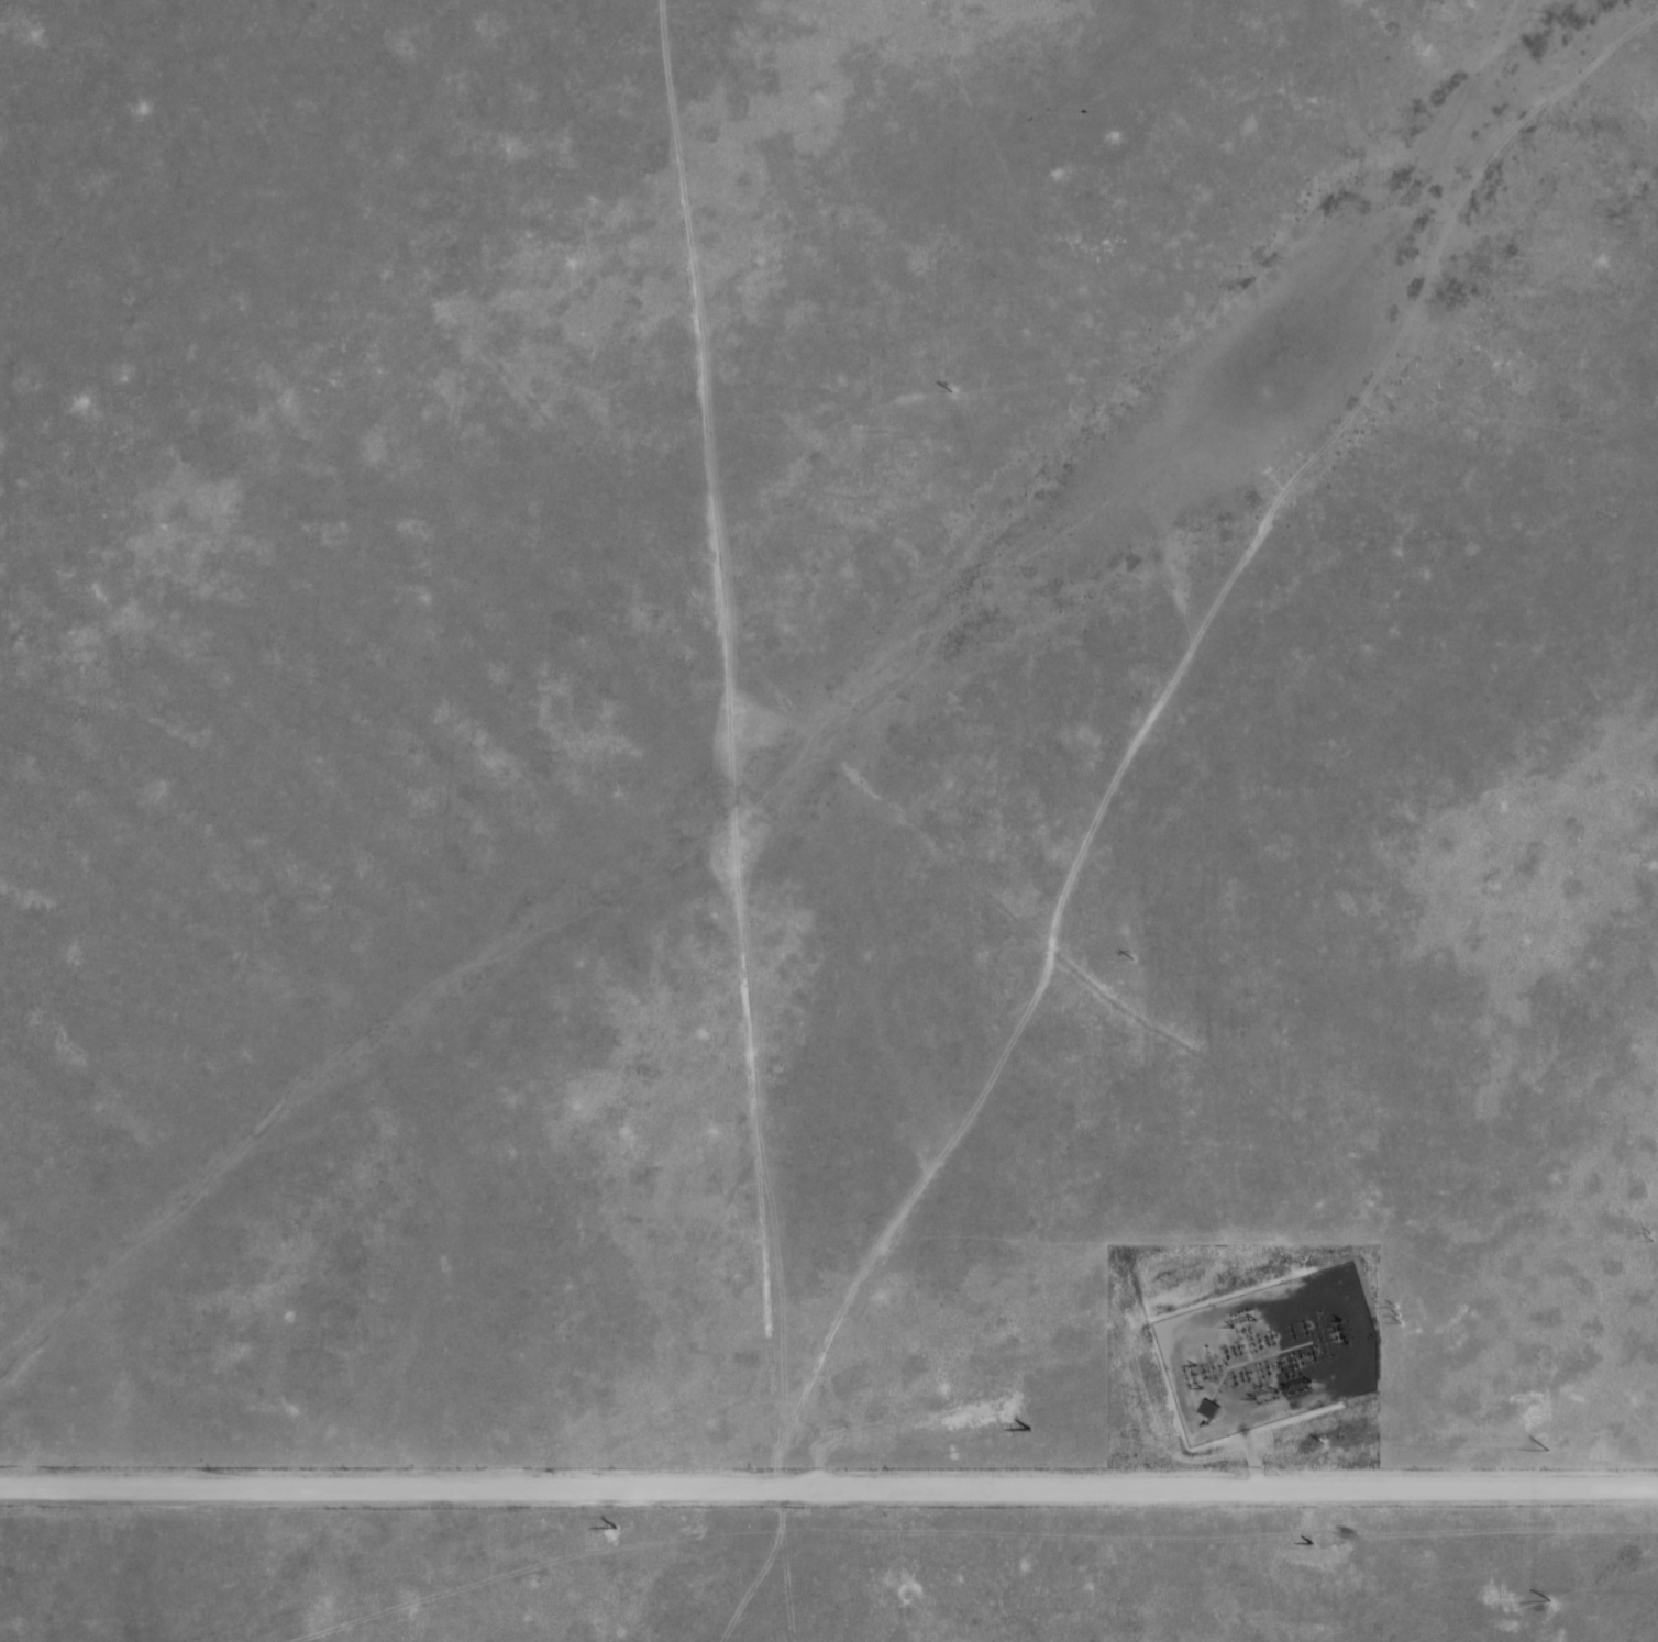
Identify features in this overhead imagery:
power tower: (1650, 1235)
power tower: (1396, 1312)
power tower: (1231, 1316)
power tower: (1333, 1331)
power substation: (1267, 1353)
power tower: (1183, 1376)
power tower: (1297, 1390)
power tower: (1259, 1401)
building: (1205, 1410)
road: (829, 1483)

